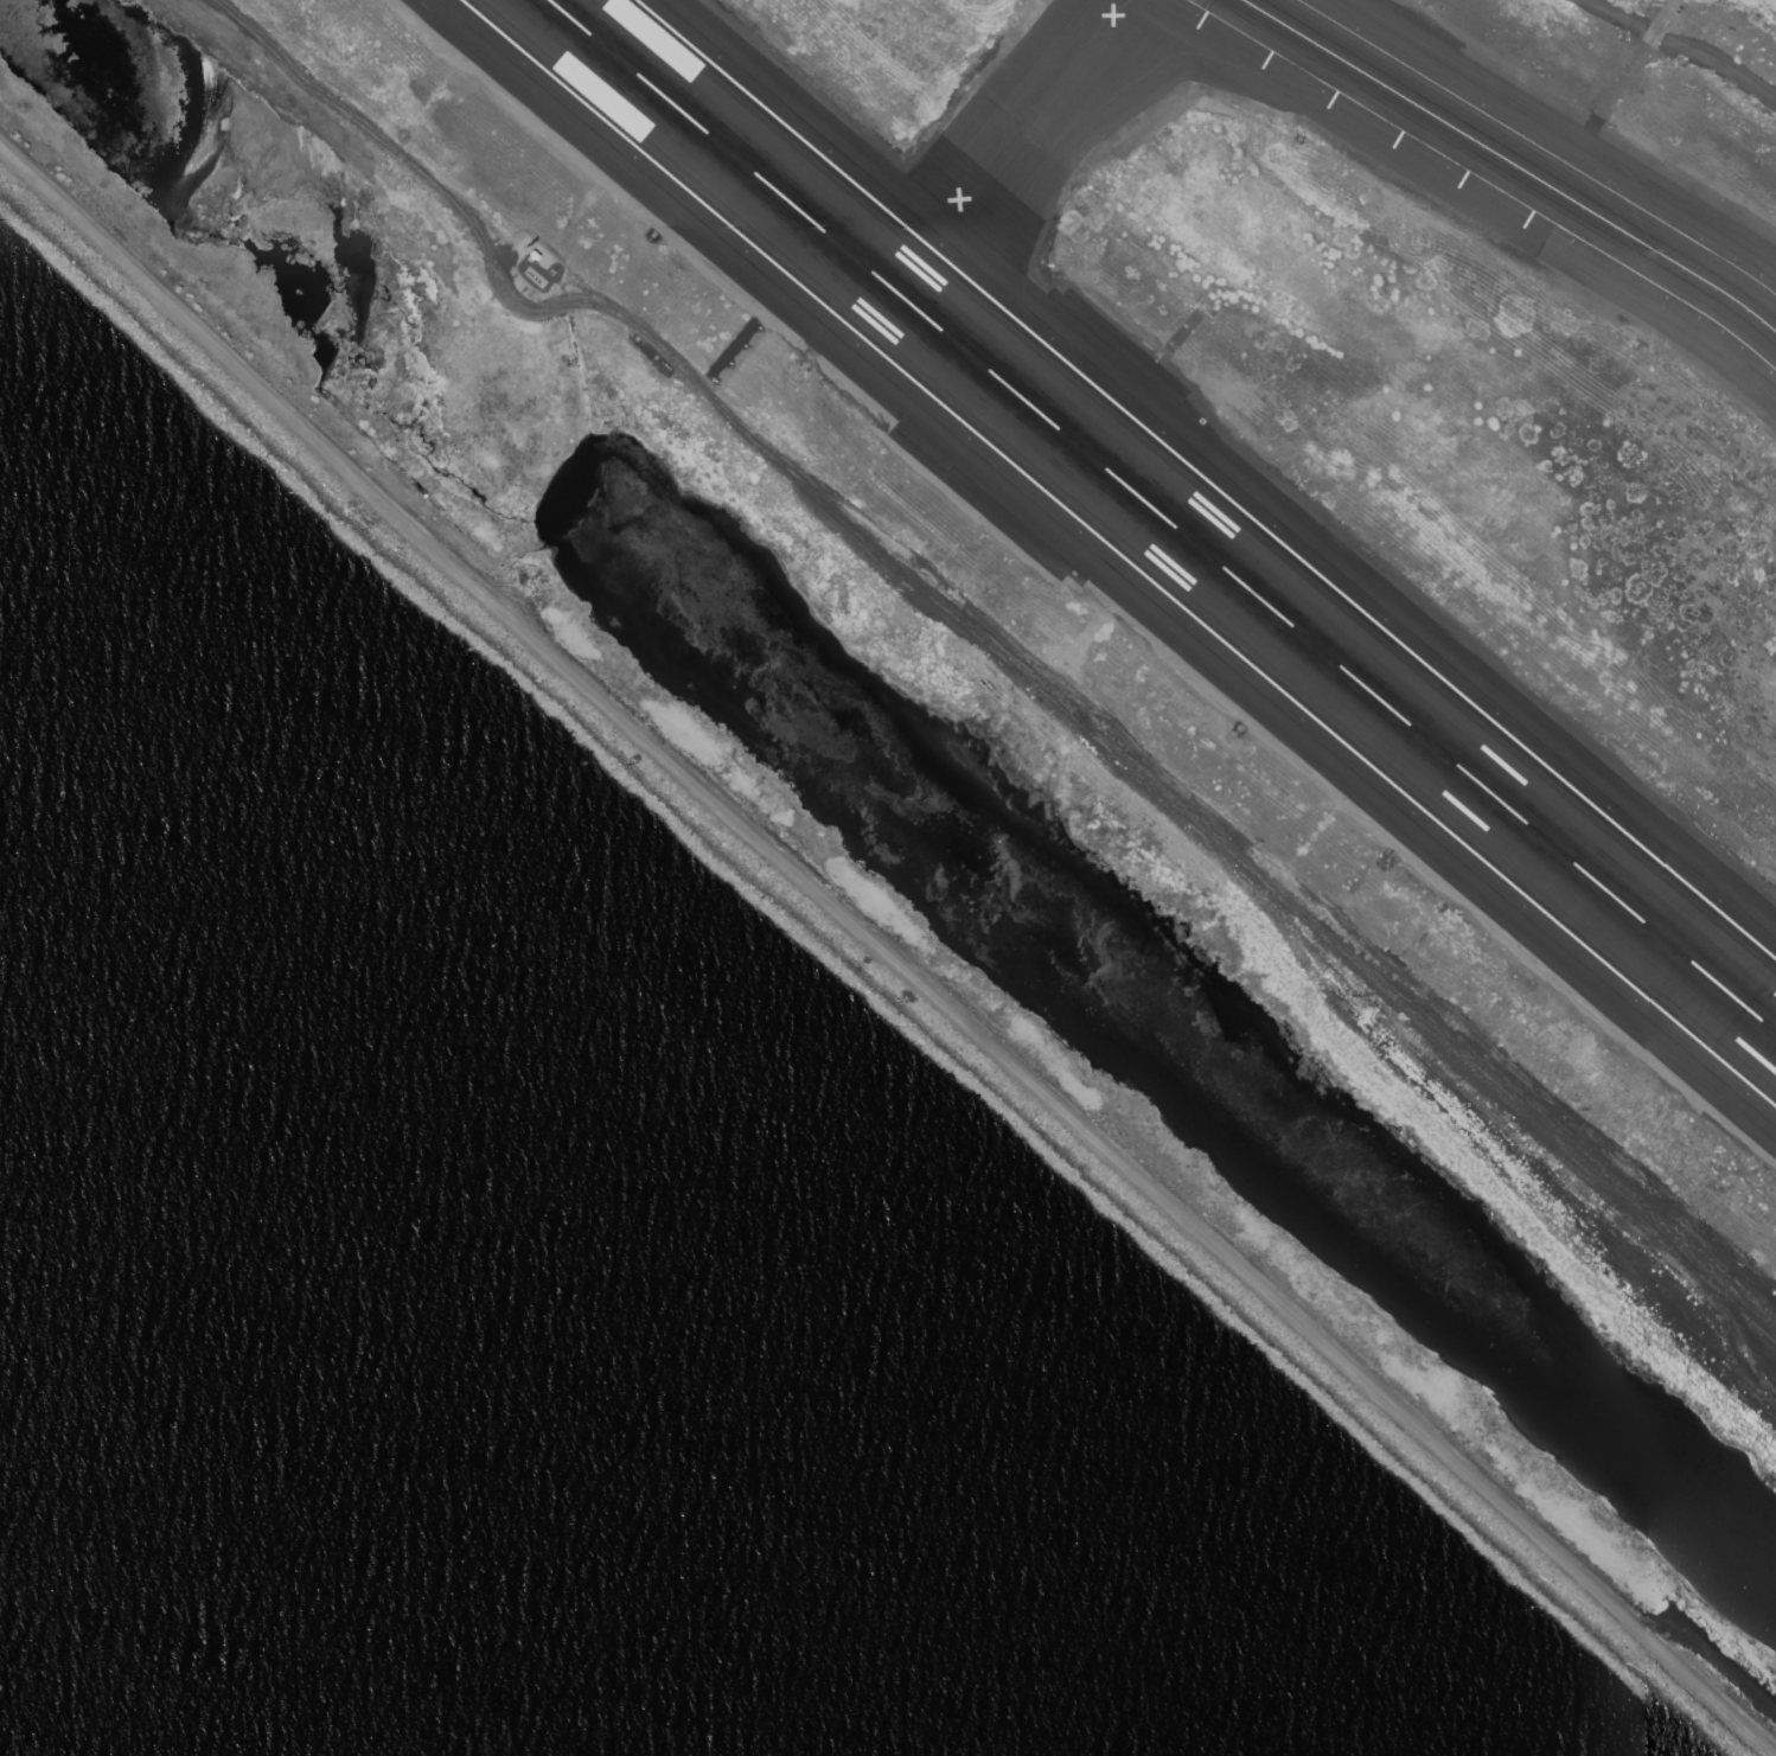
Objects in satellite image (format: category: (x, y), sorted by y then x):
airport taxiway: (1512, 162)
airport runway: (1163, 516)
airport: (1126, 604)

